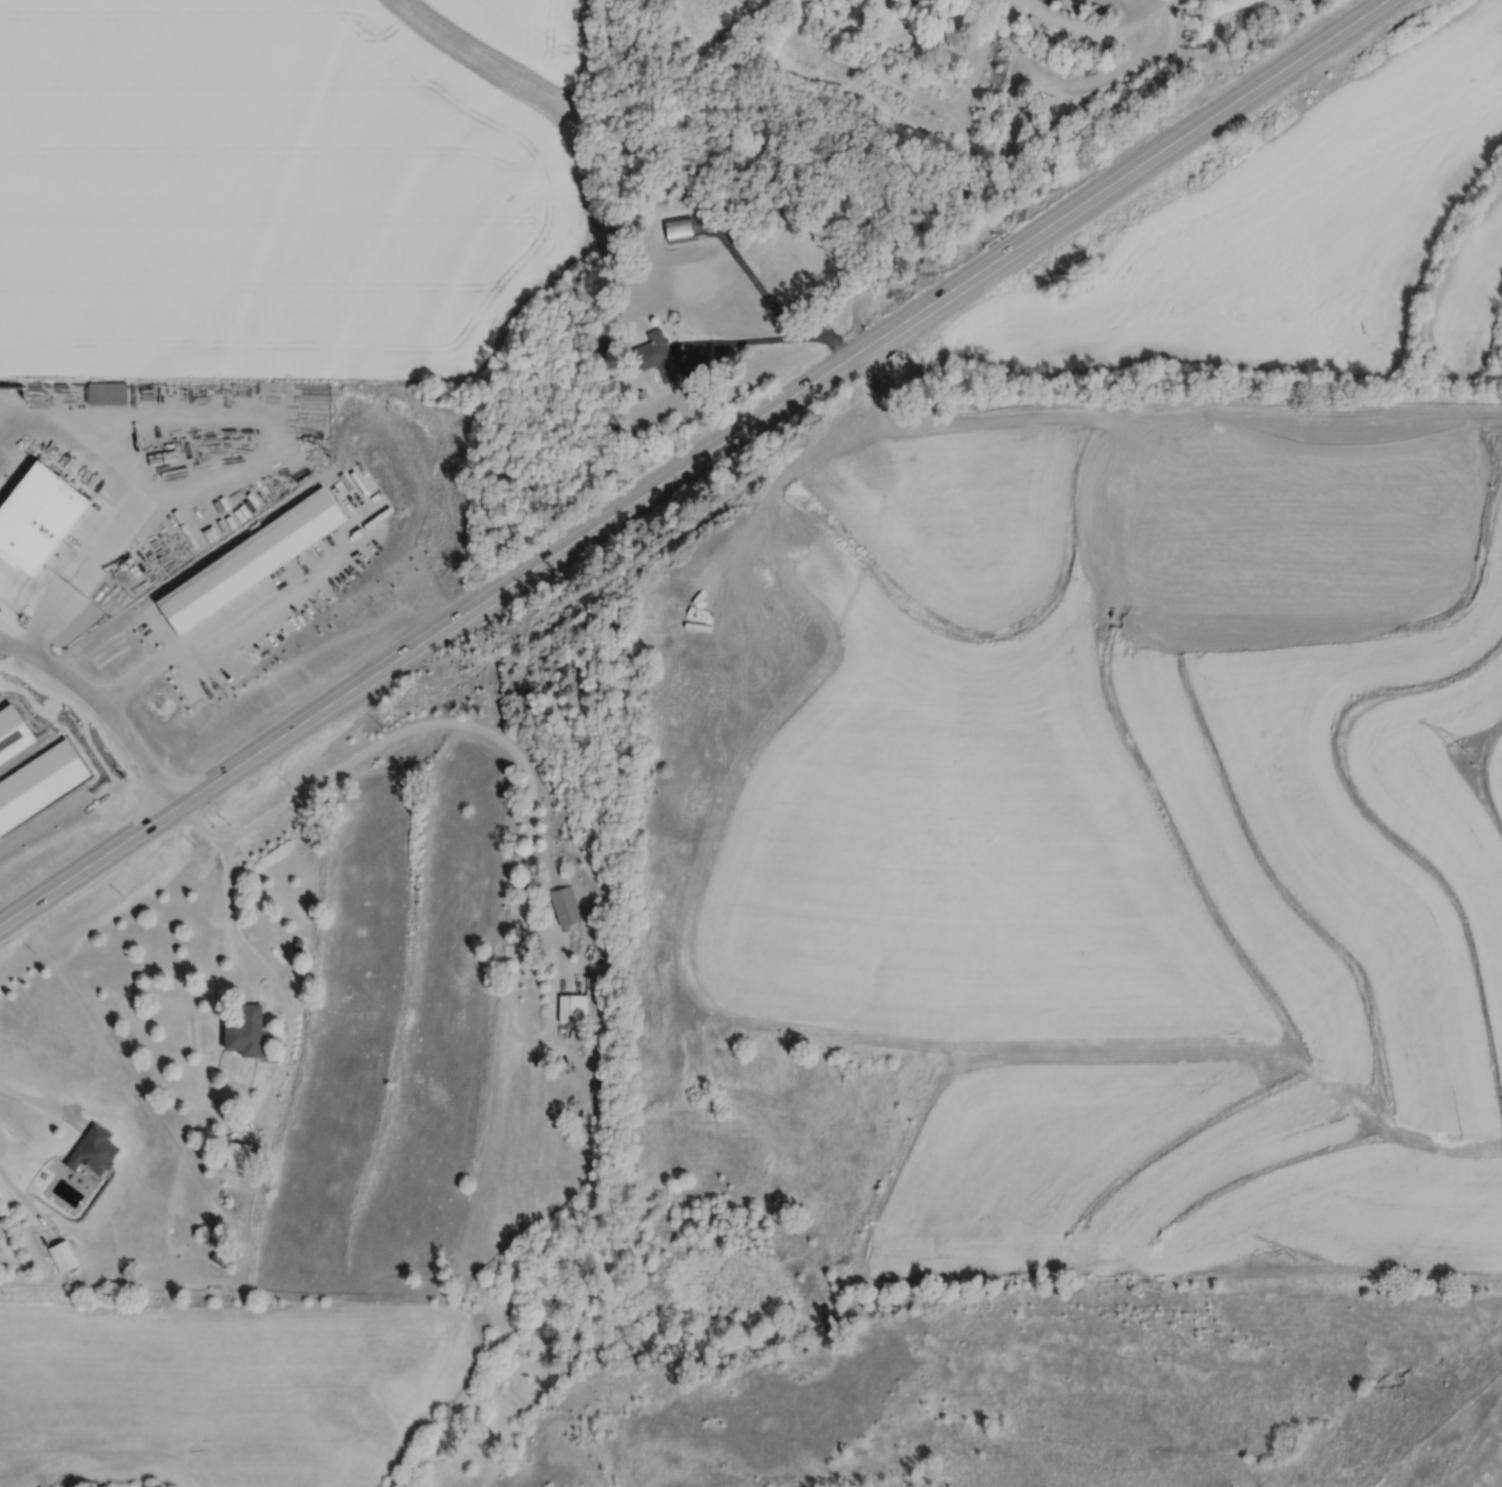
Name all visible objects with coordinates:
building: (908, 2)
road: (1098, 32)
road: (980, 61)
building: (890, 82)
building: (758, 211)
building: (676, 231)
road: (767, 346)
building: (605, 348)
building: (655, 355)
road: (696, 466)
road: (136, 507)
road: (221, 617)
road: (103, 709)
road: (432, 730)
power tower: (1461, 751)
building: (565, 906)
road: (231, 926)
building: (571, 1008)
building: (242, 1032)
road: (46, 1111)
building: (90, 1150)
building: (235, 1156)
building: (60, 1256)
power tower: (1287, 1256)

